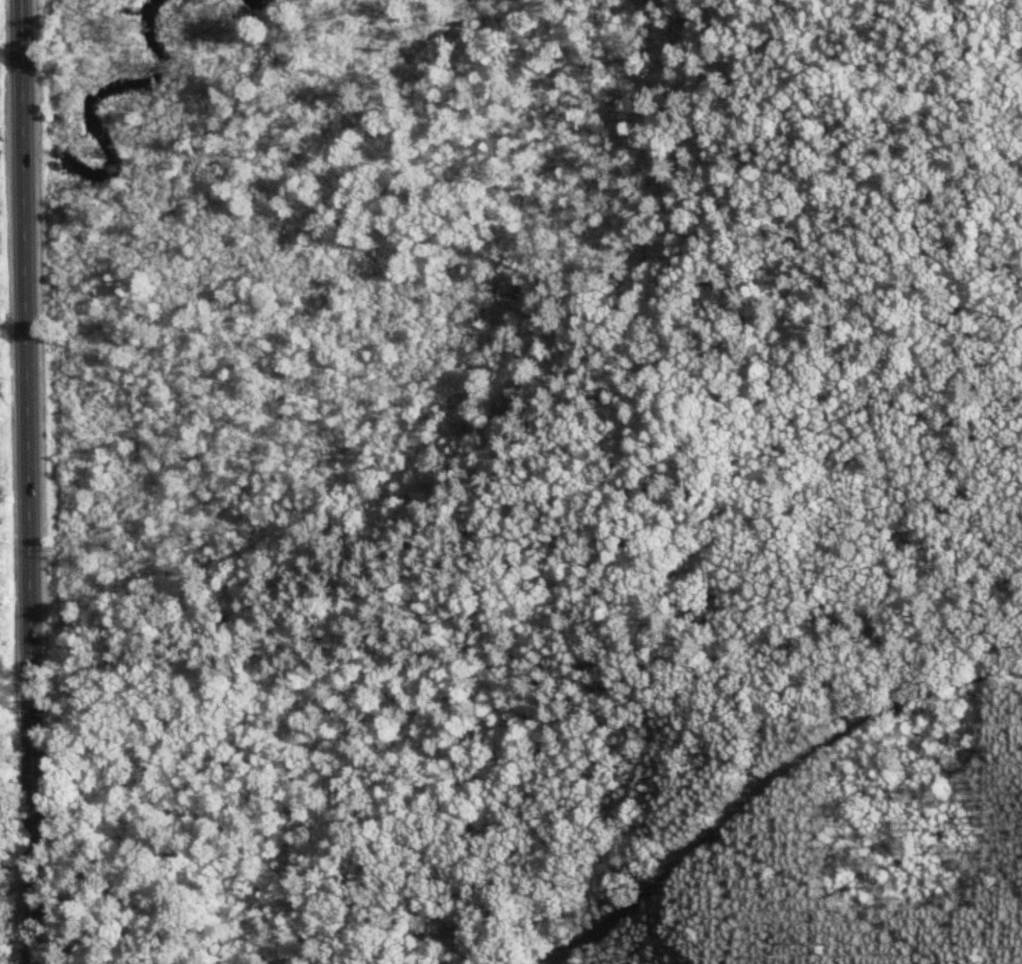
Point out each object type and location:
road: (27, 482)
road: (327, 609)
building: (671, 651)
road: (766, 784)
road: (731, 895)
road: (829, 896)
road: (1019, 963)

